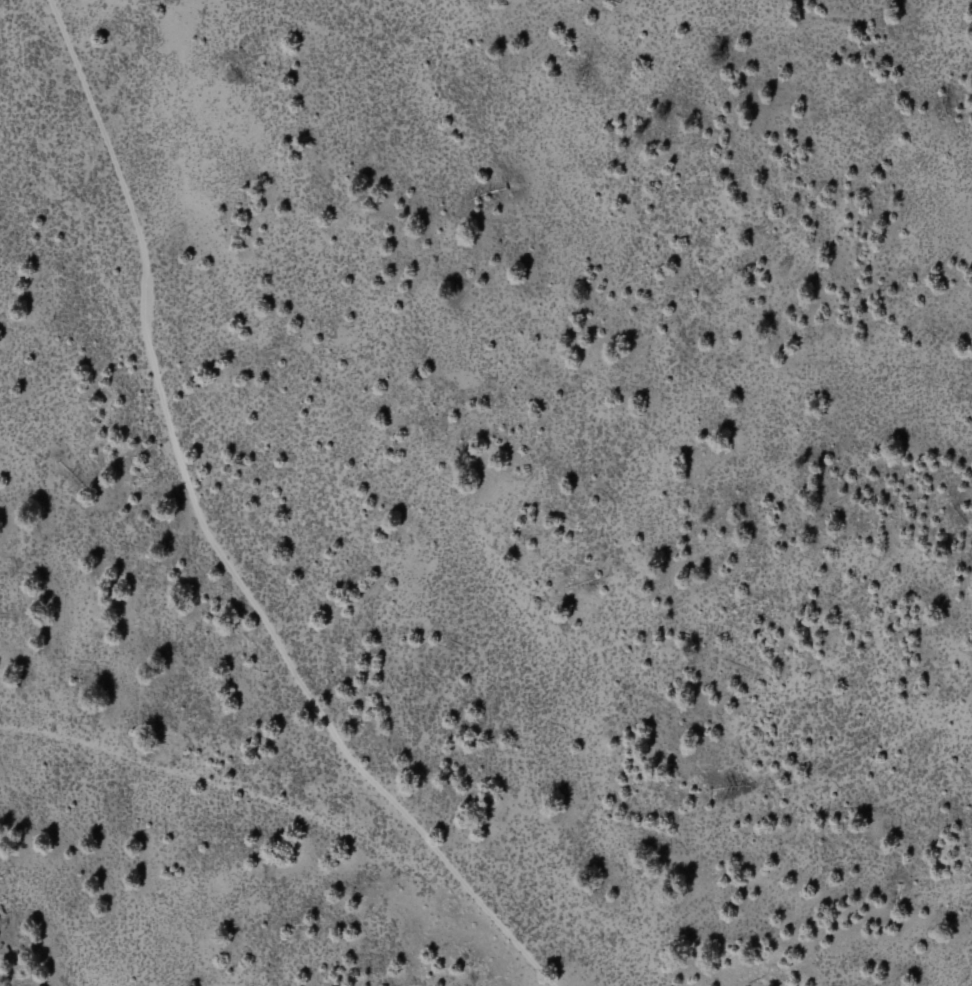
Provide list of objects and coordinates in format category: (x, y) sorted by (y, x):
road: (211, 537)
road: (232, 807)

